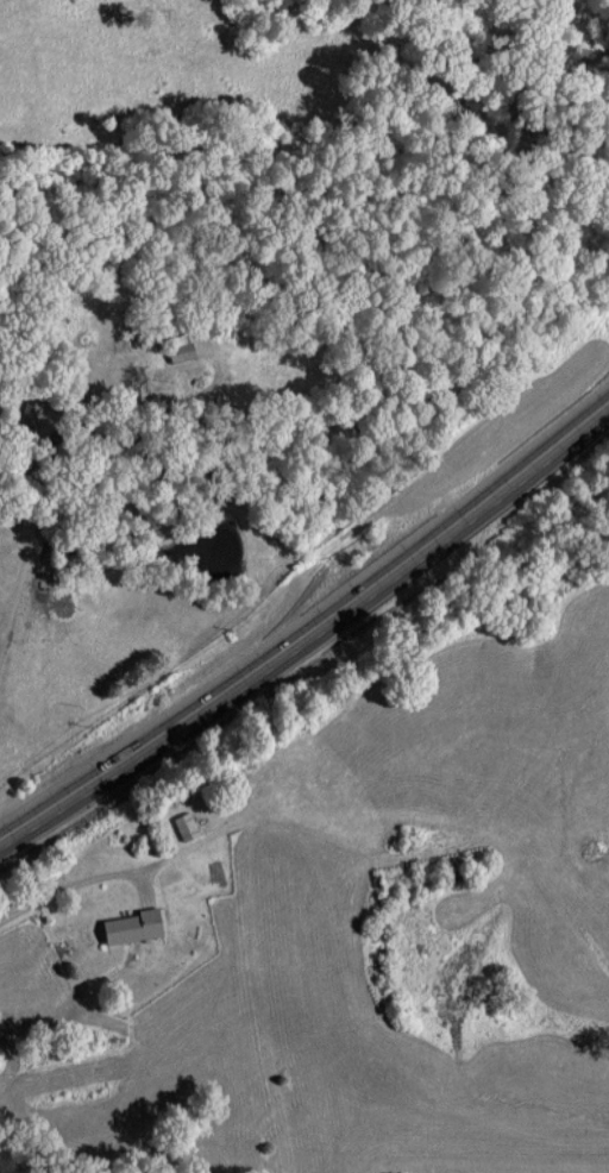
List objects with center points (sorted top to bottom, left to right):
building: (182, 351)
road: (313, 628)
building: (187, 826)
building: (133, 926)

